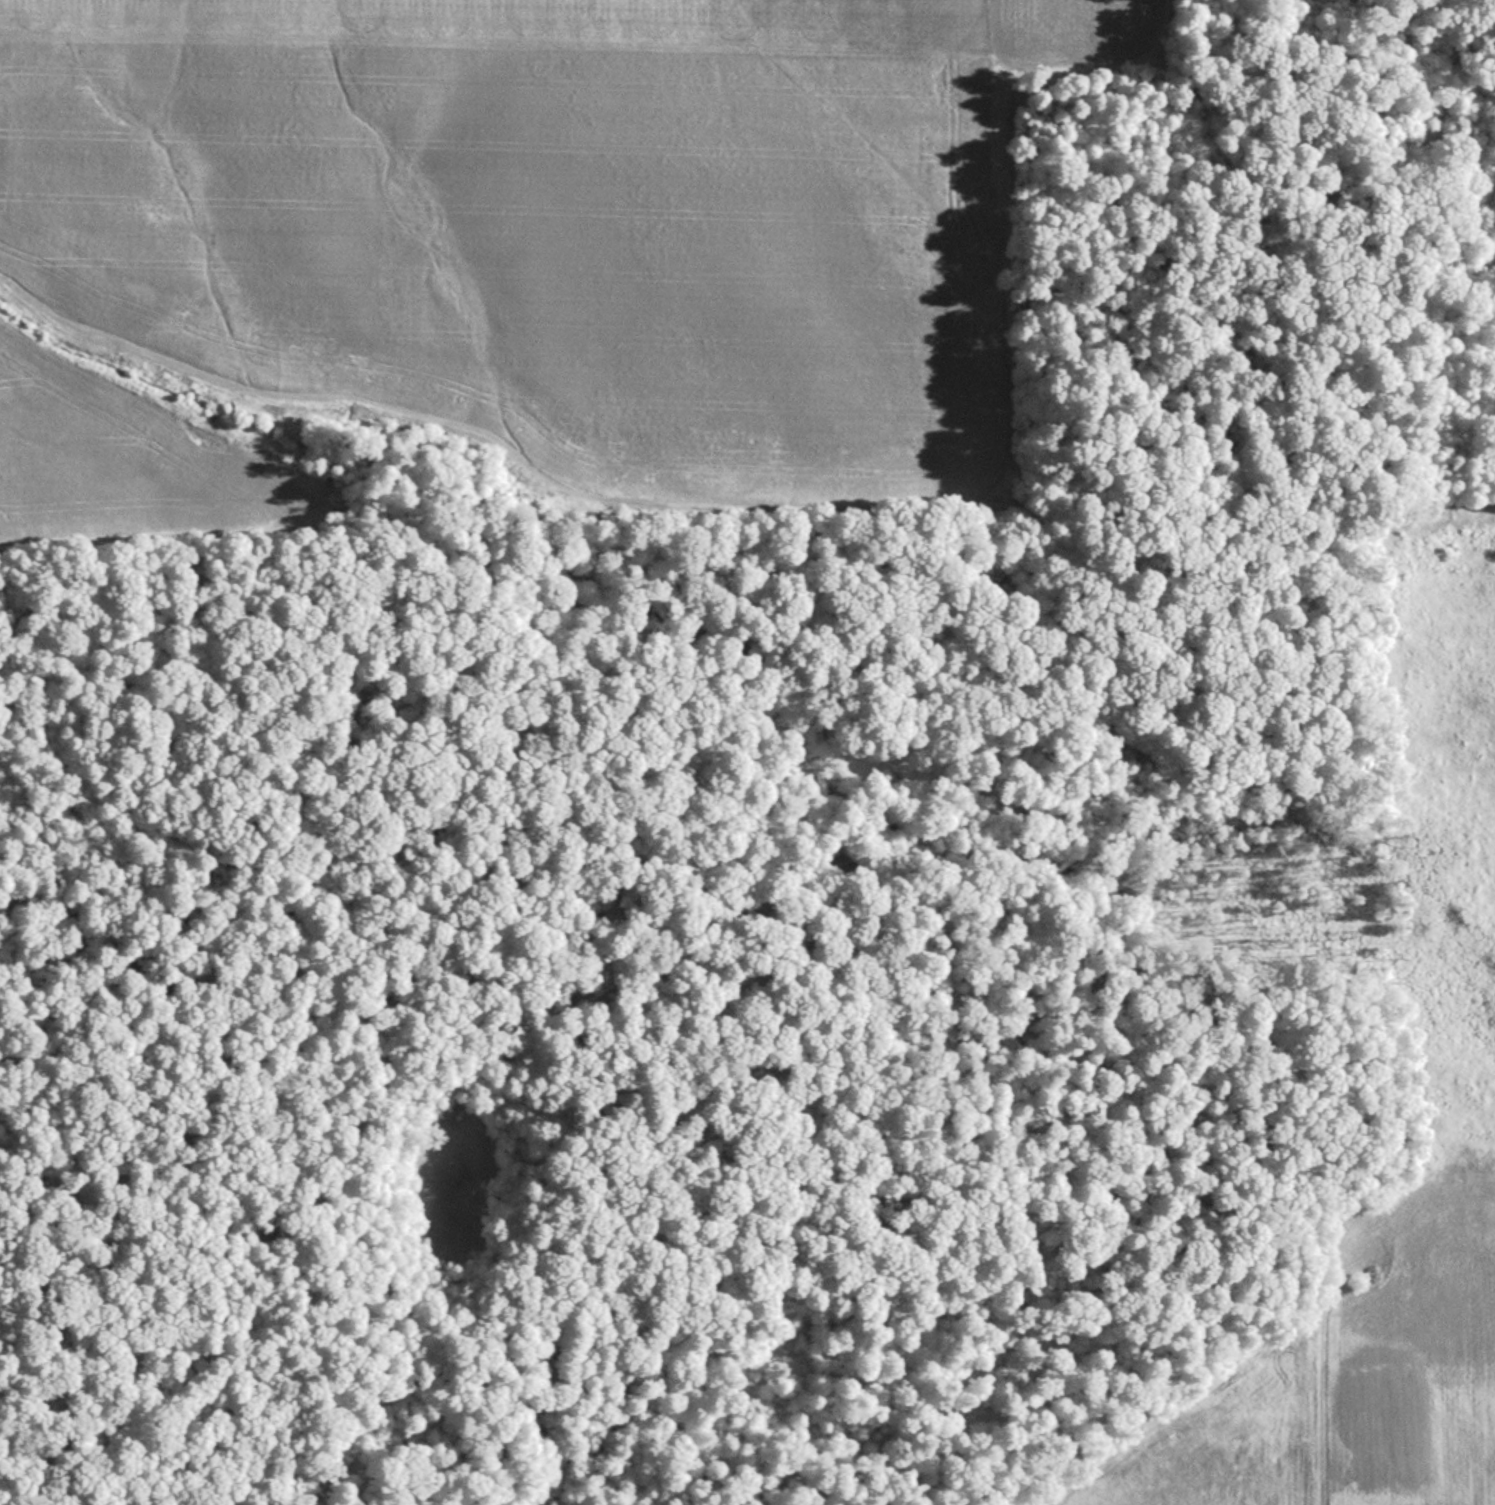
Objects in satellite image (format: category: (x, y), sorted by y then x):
road: (1321, 1360)

